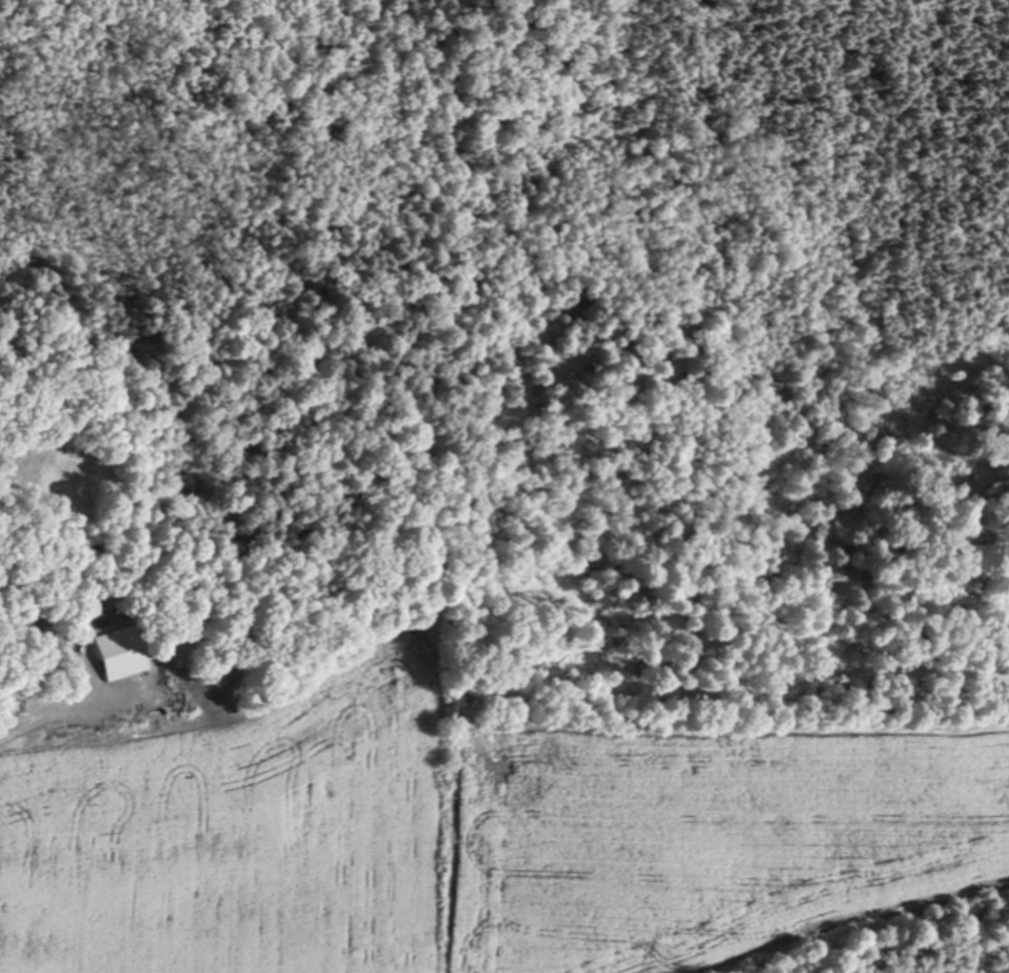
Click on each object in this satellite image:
building: (37, 614)
building: (70, 621)
building: (55, 632)
building: (39, 634)
building: (124, 648)
building: (68, 664)
building: (52, 666)

